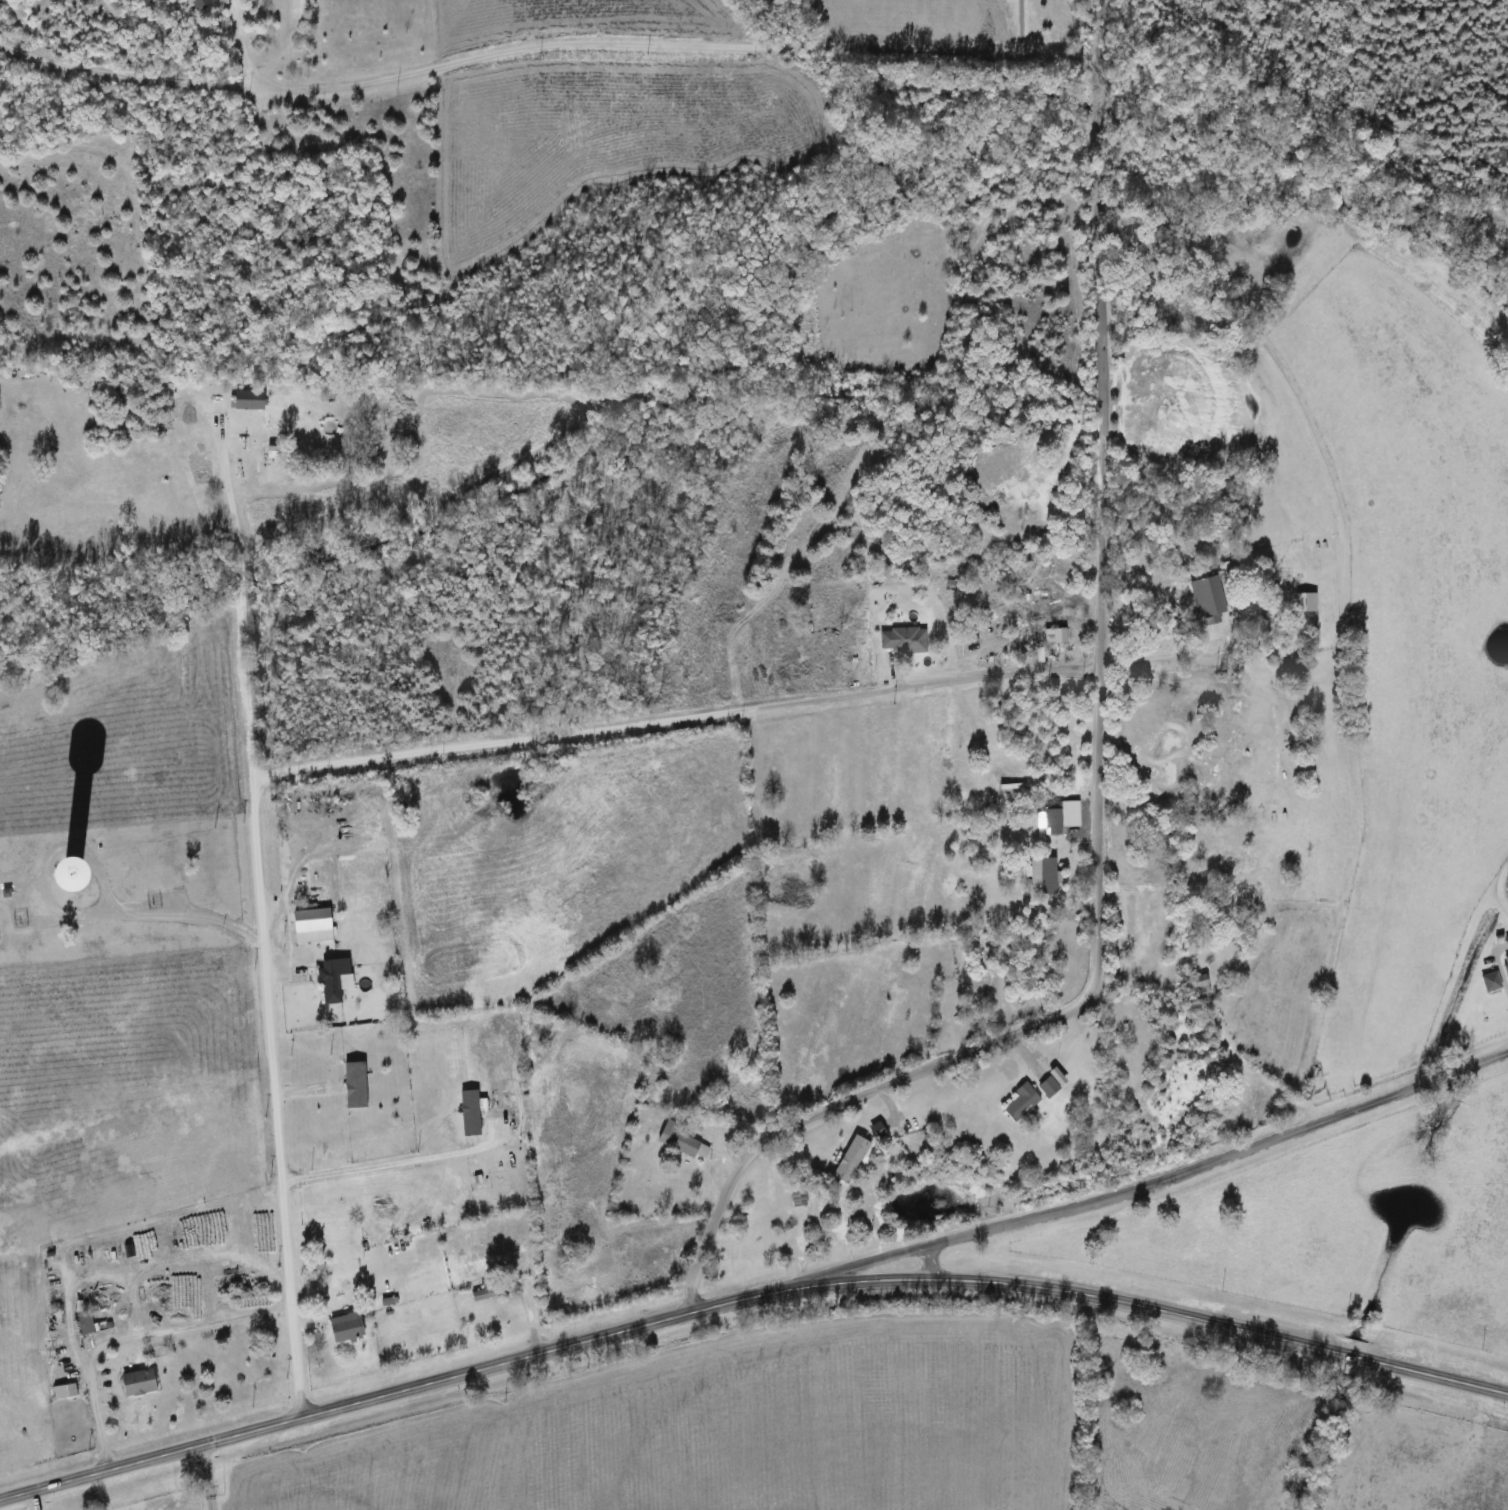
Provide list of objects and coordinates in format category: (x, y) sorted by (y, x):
road: (232, 44)
road: (541, 45)
building: (251, 401)
road: (240, 586)
building: (1211, 600)
building: (1309, 604)
building: (1058, 638)
building: (905, 642)
road: (1159, 657)
road: (674, 719)
road: (1099, 771)
building: (1056, 822)
building: (124, 867)
building: (1048, 875)
road: (1500, 886)
road: (161, 911)
building: (310, 923)
building: (332, 982)
building: (345, 1076)
building: (1052, 1088)
road: (275, 1097)
building: (1025, 1103)
building: (683, 1142)
building: (855, 1160)
road: (397, 1161)
road: (1210, 1165)
building: (236, 1256)
building: (483, 1296)
road: (748, 1298)
building: (87, 1324)
building: (348, 1327)
road: (134, 1338)
building: (141, 1383)
building: (66, 1392)
road: (206, 1477)
road: (31, 1500)

